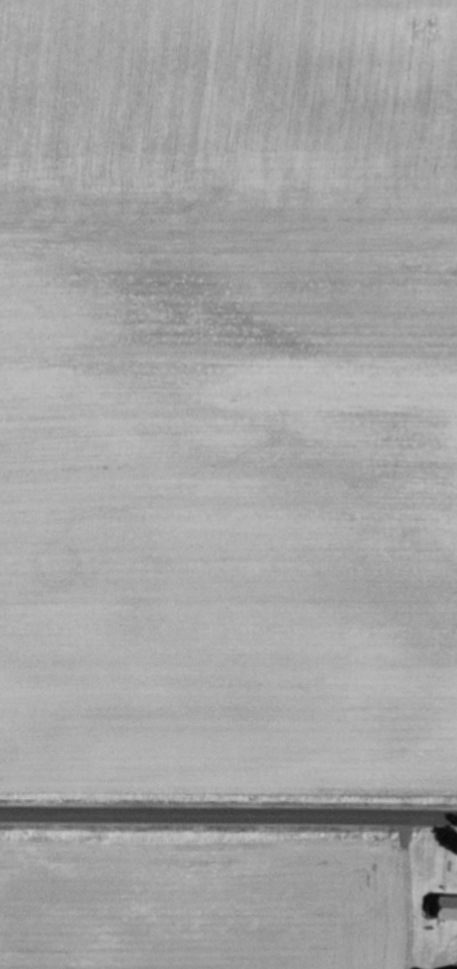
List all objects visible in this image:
road: (228, 818)
building: (449, 907)
building: (434, 910)

